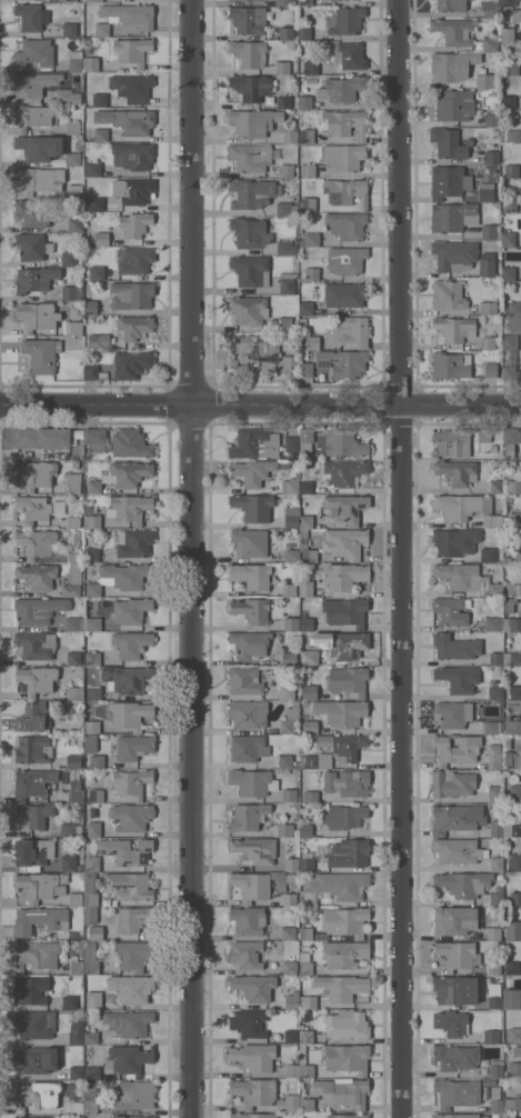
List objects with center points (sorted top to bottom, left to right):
building: (94, 0)
building: (233, 0)
building: (285, 2)
building: (305, 2)
building: (505, 2)
building: (451, 4)
building: (491, 9)
building: (129, 13)
building: (517, 14)
building: (31, 17)
building: (248, 19)
building: (344, 19)
building: (70, 29)
building: (102, 29)
building: (453, 30)
building: (287, 32)
building: (304, 32)
building: (507, 33)
building: (490, 43)
building: (132, 50)
building: (34, 52)
building: (250, 52)
building: (349, 54)
building: (74, 60)
building: (91, 63)
building: (447, 66)
building: (283, 67)
building: (311, 67)
building: (511, 68)
building: (484, 80)
building: (28, 84)
building: (132, 87)
building: (251, 87)
building: (341, 88)
building: (67, 94)
building: (100, 99)
building: (285, 101)
building: (305, 101)
building: (508, 101)
building: (455, 104)
building: (32, 116)
building: (491, 119)
building: (134, 121)
building: (254, 121)
building: (343, 122)
building: (72, 127)
building: (101, 134)
building: (290, 136)
building: (307, 136)
building: (513, 136)
building: (449, 142)
building: (39, 147)
building: (133, 156)
building: (251, 156)
building: (344, 156)
building: (492, 157)
building: (73, 159)
building: (92, 168)
building: (285, 170)
building: (308, 170)
building: (512, 170)
building: (40, 179)
building: (449, 181)
building: (74, 190)
building: (133, 190)
building: (347, 191)
building: (487, 191)
building: (252, 192)
building: (96, 203)
building: (308, 203)
building: (510, 204)
building: (287, 209)
building: (33, 212)
building: (453, 216)
building: (76, 222)
building: (136, 223)
building: (347, 224)
building: (491, 231)
building: (250, 232)
building: (102, 238)
building: (509, 238)
building: (310, 239)
building: (32, 246)
building: (285, 247)
building: (454, 254)
building: (68, 258)
building: (134, 259)
building: (343, 259)
building: (487, 267)
building: (251, 269)
building: (97, 272)
building: (509, 272)
building: (310, 273)
building: (34, 278)
building: (287, 282)
building: (71, 292)
building: (345, 293)
building: (131, 295)
building: (448, 295)
building: (90, 307)
building: (489, 307)
building: (307, 308)
building: (514, 308)
building: (249, 309)
building: (37, 315)
building: (513, 322)
building: (284, 323)
building: (76, 327)
building: (133, 327)
building: (454, 327)
building: (353, 330)
building: (93, 340)
building: (80, 341)
building: (510, 341)
building: (312, 342)
building: (488, 342)
building: (40, 343)
building: (253, 348)
building: (42, 360)
building: (343, 361)
building: (131, 363)
building: (290, 363)
building: (451, 365)
building: (511, 367)
building: (307, 369)
building: (491, 369)
building: (93, 371)
road: (260, 407)
building: (484, 435)
building: (511, 435)
building: (41, 437)
building: (96, 438)
building: (452, 441)
building: (131, 442)
building: (254, 442)
building: (305, 442)
building: (343, 442)
building: (291, 443)
building: (253, 471)
building: (345, 471)
building: (458, 471)
building: (128, 472)
building: (36, 473)
building: (73, 481)
building: (514, 483)
building: (93, 486)
building: (495, 486)
building: (290, 487)
building: (307, 487)
building: (253, 506)
building: (467, 507)
building: (33, 508)
building: (130, 508)
building: (345, 508)
building: (292, 517)
building: (513, 518)
building: (92, 520)
building: (307, 520)
building: (73, 521)
building: (77, 538)
building: (134, 541)
building: (249, 541)
building: (454, 541)
building: (344, 542)
building: (44, 546)
building: (307, 548)
building: (92, 553)
building: (488, 553)
building: (292, 555)
building: (514, 556)
road: (192, 558)
road: (400, 558)
building: (38, 575)
building: (251, 575)
building: (345, 575)
building: (120, 577)
building: (468, 578)
building: (73, 580)
building: (307, 588)
building: (289, 589)
building: (515, 589)
building: (38, 609)
building: (252, 609)
building: (451, 609)
building: (345, 610)
building: (116, 611)
building: (307, 622)
building: (72, 623)
building: (291, 623)
building: (494, 623)
building: (512, 623)
building: (87, 632)
building: (132, 643)
building: (250, 643)
building: (345, 643)
building: (37, 645)
building: (454, 647)
building: (310, 656)
building: (92, 657)
building: (289, 657)
building: (74, 658)
building: (497, 658)
building: (512, 658)
building: (37, 678)
building: (127, 678)
building: (459, 678)
building: (349, 679)
building: (244, 680)
building: (287, 691)
building: (310, 691)
building: (495, 691)
building: (513, 691)
building: (76, 692)
building: (93, 692)
building: (341, 711)
building: (248, 712)
building: (130, 713)
building: (452, 713)
building: (32, 717)
building: (290, 717)
building: (512, 725)
building: (92, 726)
building: (310, 727)
building: (491, 727)
building: (91, 743)
building: (343, 745)
building: (133, 746)
building: (247, 747)
building: (457, 748)
building: (33, 749)
building: (493, 755)
building: (510, 755)
building: (73, 760)
building: (94, 760)
building: (318, 760)
building: (285, 761)
building: (253, 781)
building: (32, 782)
building: (130, 782)
building: (348, 782)
building: (452, 782)
building: (515, 792)
building: (495, 793)
building: (76, 795)
building: (96, 795)
building: (290, 795)
building: (310, 796)
building: (36, 813)
building: (132, 816)
building: (250, 816)
building: (344, 816)
building: (457, 818)
building: (495, 827)
building: (93, 828)
building: (515, 828)
building: (71, 829)
building: (288, 829)
building: (307, 829)
building: (256, 849)
building: (458, 849)
building: (127, 850)
building: (32, 851)
building: (350, 852)
building: (514, 861)
building: (68, 862)
building: (91, 862)
building: (497, 862)
building: (291, 864)
building: (307, 864)
building: (259, 884)
building: (128, 885)
building: (39, 886)
building: (334, 886)
building: (470, 886)
building: (90, 888)
building: (74, 898)
building: (289, 898)
building: (515, 898)
building: (90, 914)
building: (39, 919)
building: (455, 919)
building: (136, 920)
building: (248, 920)
building: (345, 920)
building: (513, 929)
building: (96, 932)
building: (288, 932)
building: (307, 932)
building: (493, 932)
building: (81, 947)
building: (344, 952)
building: (134, 954)
building: (247, 954)
building: (457, 954)
building: (37, 955)
building: (90, 958)
building: (305, 962)
building: (77, 967)
building: (290, 967)
building: (493, 967)
building: (512, 967)
building: (342, 986)
building: (32, 988)
building: (136, 988)
building: (258, 988)
building: (455, 989)
building: (494, 996)
building: (511, 998)
building: (94, 999)
building: (292, 999)
building: (70, 1001)
building: (308, 1001)
building: (304, 1014)
building: (88, 1016)
building: (129, 1021)
building: (249, 1022)
building: (452, 1022)
building: (36, 1024)
building: (347, 1024)
building: (76, 1034)
building: (514, 1035)
building: (291, 1036)
building: (308, 1036)
building: (491, 1036)
building: (91, 1037)
building: (517, 1049)
building: (303, 1052)
building: (254, 1056)
building: (455, 1056)
building: (347, 1057)
building: (37, 1058)
building: (129, 1059)
building: (497, 1068)
building: (514, 1068)
building: (293, 1070)
building: (77, 1071)
building: (92, 1072)
building: (91, 1086)
building: (253, 1091)
building: (342, 1091)
building: (457, 1092)
building: (37, 1095)
building: (134, 1095)
building: (495, 1099)
building: (292, 1101)
building: (308, 1104)
building: (512, 1104)
building: (91, 1106)
building: (76, 1107)
building: (252, 1115)
building: (347, 1115)
building: (510, 1115)
building: (455, 1116)
building: (485, 1116)
building: (34, 1117)
building: (132, 1117)

